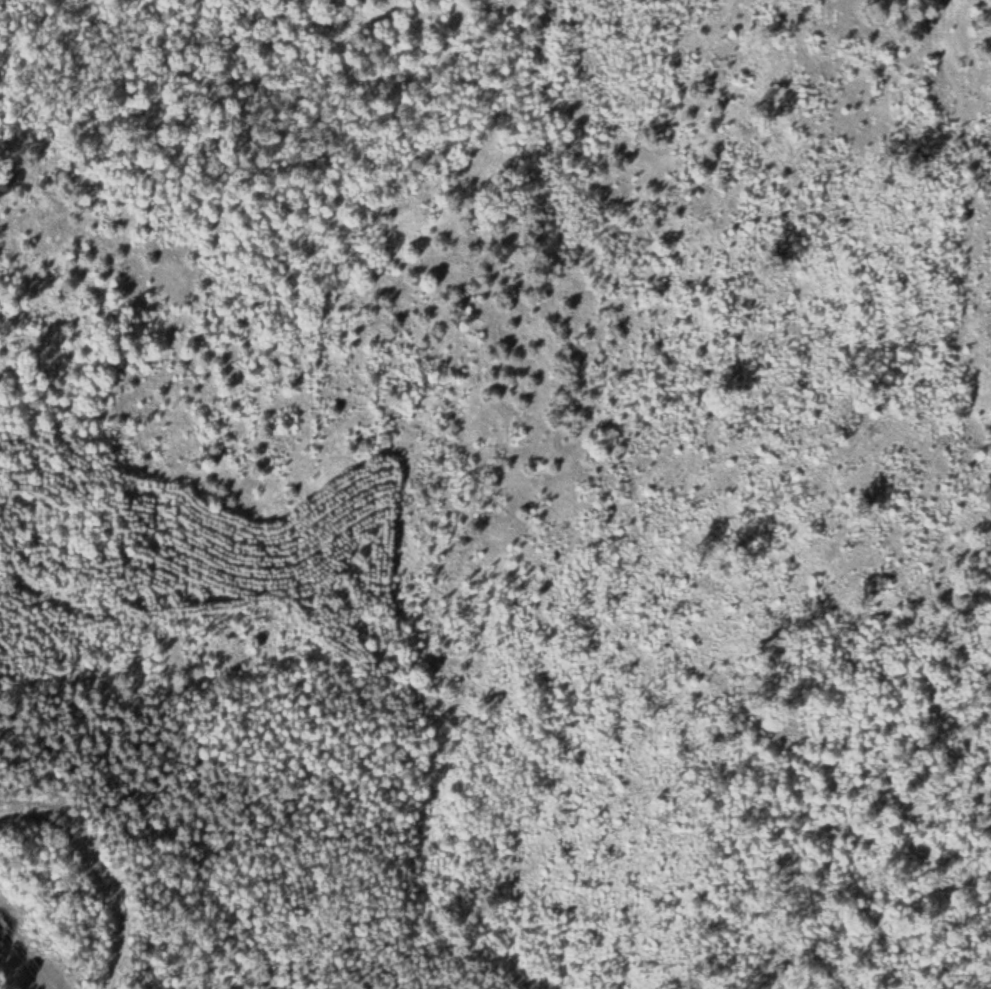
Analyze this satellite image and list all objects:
road: (99, 871)

